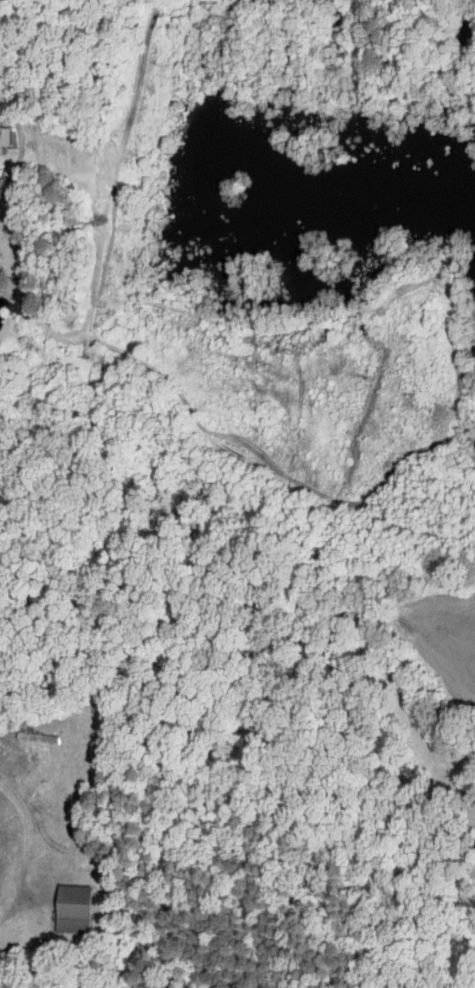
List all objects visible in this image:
road: (0, 104)
building: (5, 136)
building: (74, 908)

